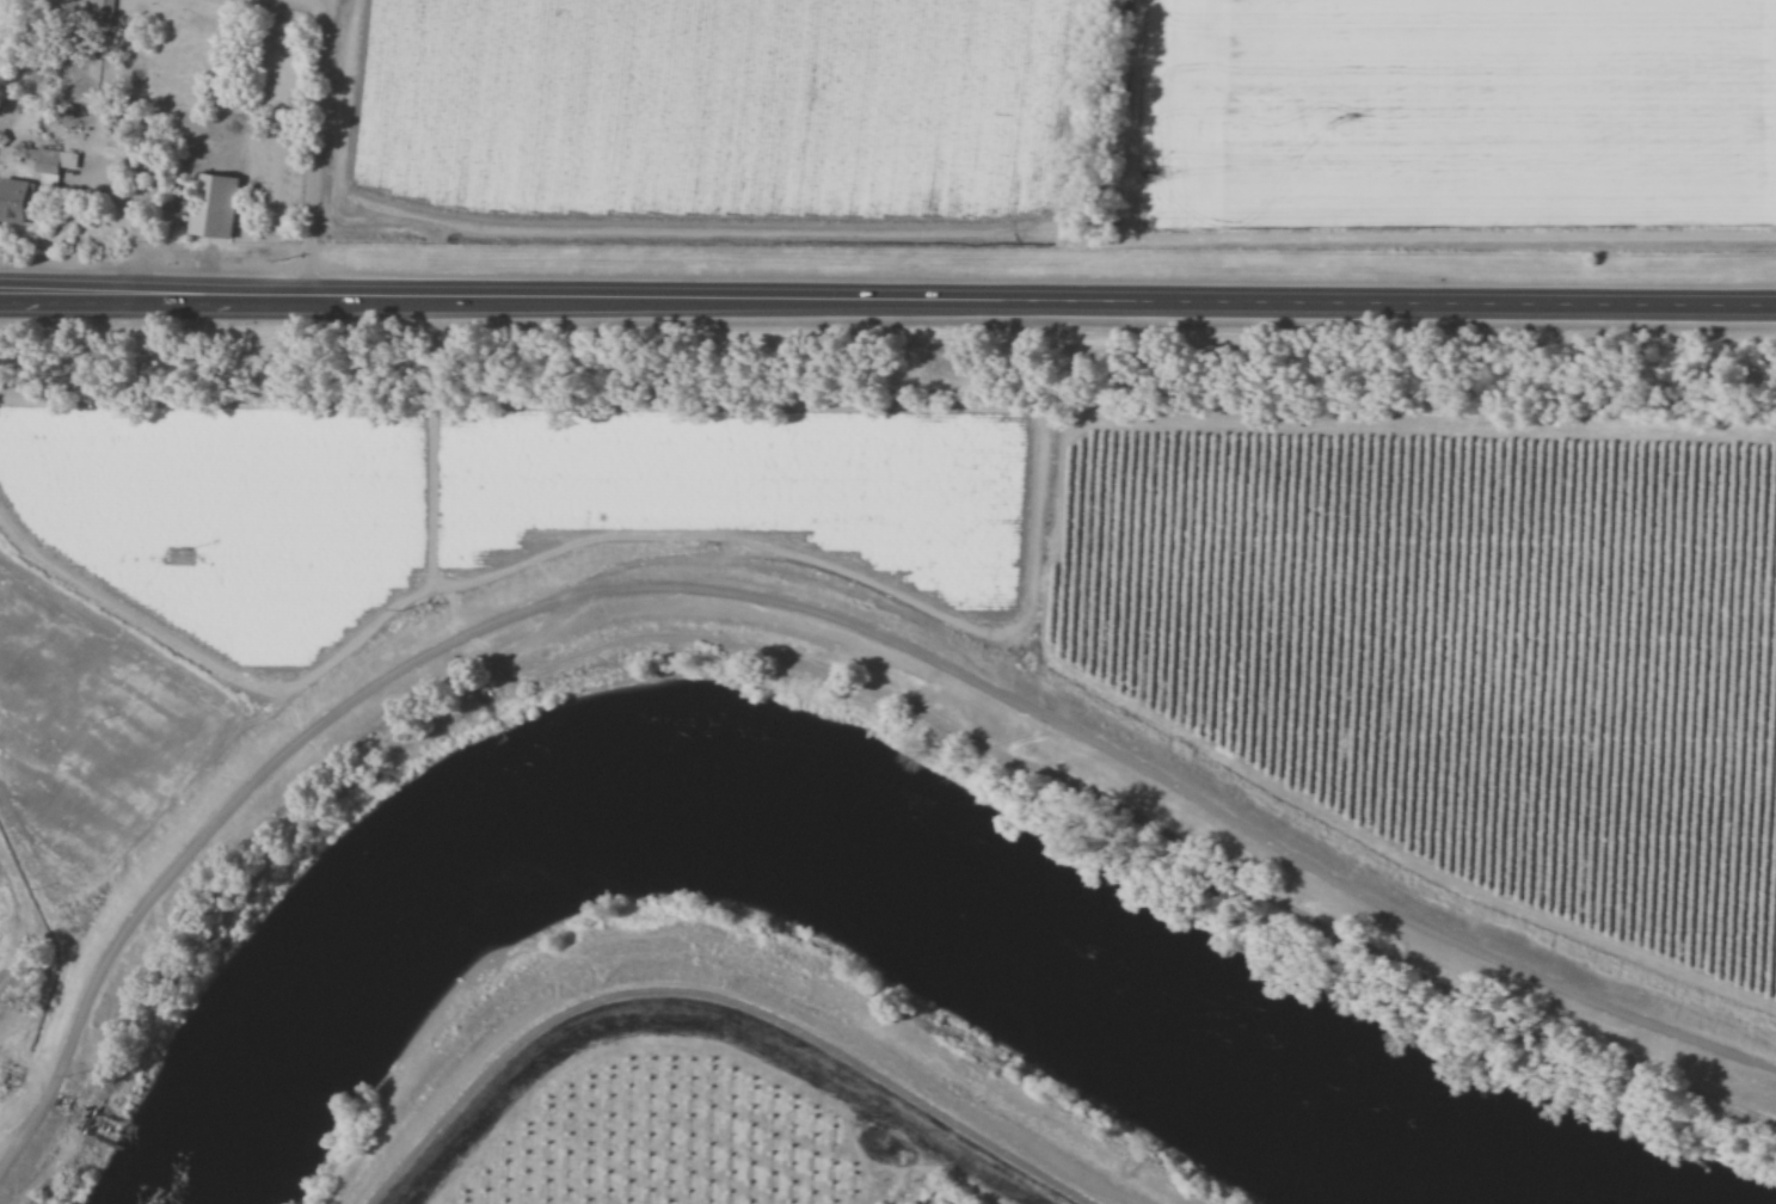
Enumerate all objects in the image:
road: (315, 147)
building: (13, 204)
building: (216, 207)
road: (152, 293)
road: (1039, 300)
railway: (887, 377)
road: (809, 606)
river: (795, 848)
road: (730, 1030)

